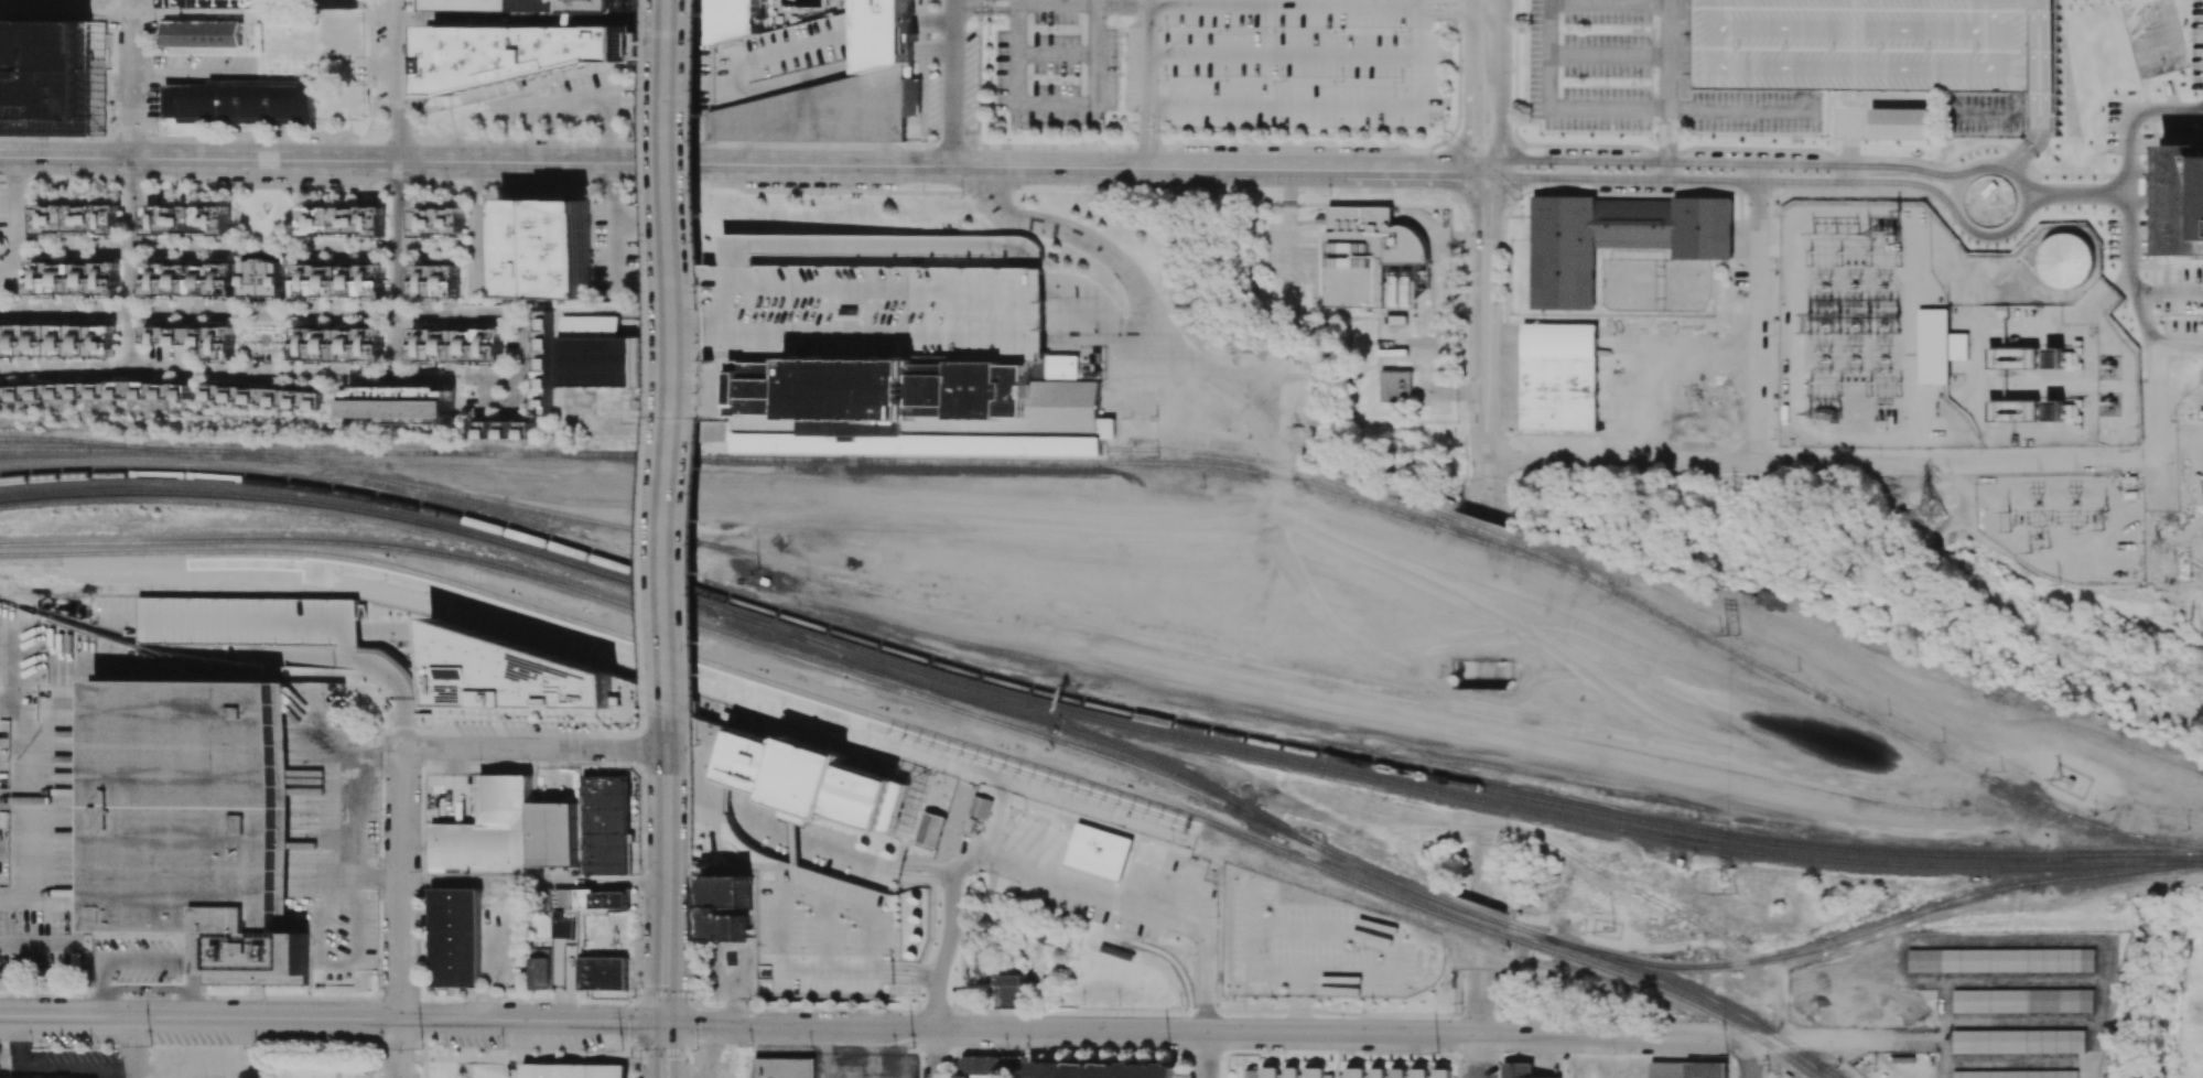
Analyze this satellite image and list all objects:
road: (965, 0)
road: (959, 1)
road: (1017, 1)
road: (1018, 1)
road: (1095, 1)
road: (1146, 1)
road: (1549, 1)
road: (1057, 2)
road: (1417, 2)
road: (1423, 2)
road: (1460, 2)
road: (1609, 2)
building: (219, 3)
road: (1256, 3)
building: (337, 4)
building: (549, 6)
road: (1469, 6)
road: (1488, 6)
road: (2033, 6)
road: (991, 9)
road: (1997, 11)
road: (1440, 12)
road: (65, 13)
road: (191, 14)
road: (360, 15)
road: (522, 18)
building: (735, 19)
road: (1682, 26)
building: (886, 29)
road: (1865, 30)
building: (205, 35)
road: (1472, 36)
building: (1876, 45)
parking lot: (1876, 45)
road: (2045, 46)
road: (1146, 52)
road: (2033, 53)
building: (528, 54)
road: (1608, 55)
road: (1667, 55)
parking lot: (792, 58)
parking lot: (1218, 63)
road: (1682, 67)
road: (1846, 68)
road: (1514, 71)
street lamp: (1461, 72)
street lamp: (1512, 72)
building: (47, 77)
road: (129, 79)
road: (401, 80)
parking lot: (1637, 80)
road: (952, 83)
road: (1501, 87)
road: (595, 96)
building: (911, 97)
road: (1057, 101)
building: (242, 103)
road: (1330, 103)
road: (1799, 103)
road: (1953, 103)
road: (1147, 104)
road: (2017, 104)
building: (824, 110)
road: (2166, 110)
road: (1553, 111)
road: (1732, 112)
road: (1808, 114)
parking lot: (1986, 114)
road: (1986, 114)
road: (1853, 121)
road: (1141, 122)
road: (1155, 122)
road: (1471, 123)
building: (1904, 126)
street lamp: (2022, 127)
road: (2032, 127)
road: (2043, 130)
street lamp: (1575, 132)
road: (1661, 132)
street lamp: (1639, 133)
road: (1672, 133)
street lamp: (1700, 134)
street lamp: (1760, 134)
street lamp: (1444, 136)
street lamp: (1821, 136)
street lamp: (2004, 136)
street lamp: (924, 141)
road: (1850, 142)
street lamp: (1081, 143)
road: (1591, 145)
road: (2128, 152)
road: (1146, 153)
road: (1666, 158)
street lamp: (2038, 158)
road: (64, 159)
road: (264, 161)
road: (1727, 162)
road: (487, 163)
road: (2013, 163)
road: (656, 164)
road: (820, 165)
road: (1094, 166)
road: (1386, 170)
road: (1570, 170)
road: (1666, 171)
road: (1850, 173)
street lamp: (2071, 180)
road: (1724, 181)
road: (1570, 187)
building: (1988, 188)
street lamp: (1173, 192)
street lamp: (820, 195)
street lamp: (1337, 195)
road: (2076, 195)
street lamp: (960, 198)
street lamp: (1521, 200)
building: (2183, 201)
building: (1635, 204)
road: (1486, 206)
street lamp: (2071, 207)
road: (11, 216)
building: (76, 218)
building: (186, 219)
building: (342, 222)
flagpole: (1520, 222)
building: (438, 223)
road: (607, 224)
street lamp: (1952, 224)
road: (477, 227)
road: (639, 227)
street lamp: (2021, 231)
road: (1979, 236)
building: (1634, 244)
road: (396, 247)
building: (790, 247)
road: (887, 247)
road: (132, 248)
building: (550, 250)
building: (1563, 254)
building: (1373, 259)
building: (2065, 260)
road: (129, 265)
road: (739, 267)
street lamp: (1772, 267)
road: (400, 270)
building: (73, 278)
building: (263, 278)
building: (188, 279)
building: (338, 281)
building: (434, 281)
road: (723, 290)
parking lot: (881, 291)
road: (1140, 292)
road: (2134, 292)
road: (2168, 292)
street lamp: (1501, 301)
building: (853, 311)
road: (1757, 312)
street lamp: (1710, 313)
road: (1484, 316)
building: (1396, 320)
power tower: (1808, 322)
road: (696, 330)
road: (1041, 330)
road: (834, 331)
power substation: (1862, 332)
street lamp: (1772, 334)
building: (195, 339)
building: (56, 341)
building: (1933, 341)
building: (338, 344)
building: (456, 345)
road: (526, 346)
road: (1634, 346)
road: (825, 351)
building: (593, 353)
road: (670, 353)
chimney: (2048, 362)
building: (543, 367)
building: (1559, 377)
building: (2201, 377)
building: (1395, 387)
power tower: (1901, 387)
building: (174, 391)
building: (78, 392)
building: (266, 396)
road: (2152, 398)
building: (403, 403)
building: (918, 407)
street lamp: (1467, 409)
building: (2012, 410)
chimney: (2047, 413)
power tower: (1824, 416)
road: (1483, 424)
building: (503, 430)
street lamp: (1773, 438)
road: (1473, 440)
street lamp: (2137, 443)
railway: (94, 451)
railway: (1144, 451)
street lamp: (1873, 451)
street lamp: (2103, 451)
street lamp: (1978, 452)
road: (1812, 462)
railway: (1103, 463)
street lamp: (1688, 473)
road: (1462, 475)
street lamp: (1507, 482)
road: (1477, 487)
railway: (441, 489)
road: (1490, 489)
railway: (1378, 494)
power tower: (1734, 507)
power tower: (1932, 515)
power tower: (2008, 520)
power substation: (2067, 526)
railway: (970, 597)
building: (1772, 601)
building: (246, 621)
power tower: (1731, 635)
road: (1458, 673)
road: (1473, 673)
road: (1491, 673)
building: (537, 679)
road: (398, 681)
railway: (1332, 686)
railway: (1070, 701)
railway: (944, 707)
railway: (1071, 713)
railway: (1037, 720)
railway: (1616, 730)
railway: (929, 732)
building: (908, 737)
road: (534, 747)
street lamp: (478, 759)
street lamp: (420, 766)
building: (810, 779)
building: (1037, 793)
road: (666, 794)
building: (981, 807)
road: (352, 817)
building: (198, 821)
building: (603, 824)
road: (762, 826)
building: (930, 828)
building: (506, 832)
railway: (1196, 836)
road: (792, 840)
railway: (2167, 842)
road: (29, 848)
building: (1105, 850)
railway: (2180, 852)
road: (845, 855)
railway: (2181, 863)
chimney: (713, 865)
road: (910, 865)
road: (1456, 870)
street lamp: (1464, 870)
street lamp: (420, 871)
road: (939, 873)
road: (1471, 873)
road: (1489, 875)
road: (909, 876)
road: (533, 882)
road: (1088, 884)
power tower: (1727, 892)
building: (725, 908)
road: (780, 909)
road: (400, 912)
railway: (1873, 928)
building: (566, 929)
road: (1368, 935)
building: (454, 937)
road: (36, 945)
road: (943, 947)
parking lot: (1315, 947)
road: (665, 952)
street lamp: (420, 956)
road: (150, 957)
parking lot: (150, 958)
building: (2001, 960)
road: (903, 967)
building: (539, 969)
building: (603, 971)
road: (929, 973)
road: (901, 977)
building: (1009, 980)
street lamp: (637, 984)
road: (150, 988)
chimney: (985, 988)
road: (1454, 991)
road: (1207, 992)
street lamp: (126, 993)
street lamp: (172, 993)
flagpole: (910, 995)
building: (1864, 995)
street lamp: (12, 996)
road: (1244, 996)
street lamp: (264, 999)
street lamp: (693, 999)
street lamp: (500, 1001)
building: (2023, 1001)
road: (100, 1003)
street lamp: (1460, 1003)
road: (1473, 1003)
road: (1484, 1003)
road: (198, 1004)
road: (1329, 1011)
street lamp: (1131, 1014)
street lamp: (1341, 1017)
road: (332, 1018)
street lamp: (1693, 1022)
traffic signals: (665, 1024)
street lamp: (1811, 1025)
street lamp: (1922, 1025)
road: (1071, 1033)
road: (1455, 1035)
road: (1611, 1038)
road: (1937, 1039)
road: (1810, 1042)
building: (2020, 1042)
power tower: (150, 1045)
street lamp: (150, 1045)
street lamp: (378, 1045)
street lamp: (811, 1046)
power tower: (421, 1048)
street lamp: (695, 1048)
power tower: (912, 1048)
street lamp: (912, 1048)
road: (136, 1049)
power tower: (619, 1049)
street lamp: (1005, 1049)
road: (665, 1050)
power tower: (1169, 1050)
street lamp: (531, 1053)
street lamp: (579, 1053)
power tower: (1437, 1053)
street lamp: (1437, 1053)
road: (936, 1055)
street lamp: (1612, 1055)
street lamp: (629, 1056)
road: (1207, 1056)
road: (1467, 1056)
power tower: (1726, 1056)
road: (1478, 1057)
road: (1749, 1060)
street lamp: (421, 1064)
road: (210, 1066)
building: (982, 1066)
building: (784, 1067)
road: (56, 1068)
building: (1687, 1069)
building: (566, 1070)
building: (1104, 1070)
building: (1270, 1070)
building: (1292, 1070)
building: (1315, 1070)
building: (1516, 1070)
building: (1353, 1071)
building: (1397, 1071)
building: (1419, 1071)
building: (1441, 1071)
street lamp: (1767, 1071)
building: (1251, 1072)
building: (1379, 1072)
building: (2015, 1074)
building: (734, 1077)

